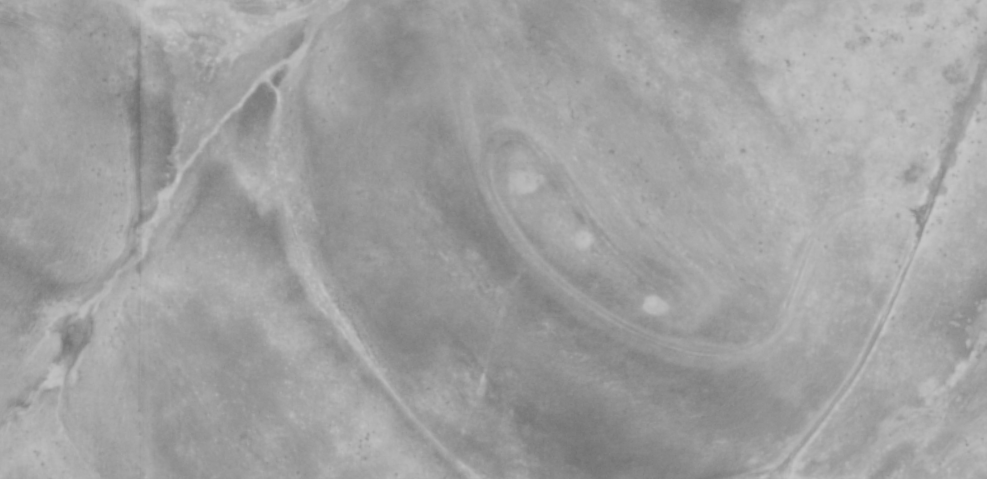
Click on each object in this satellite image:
wastewater plant: (856, 450)

